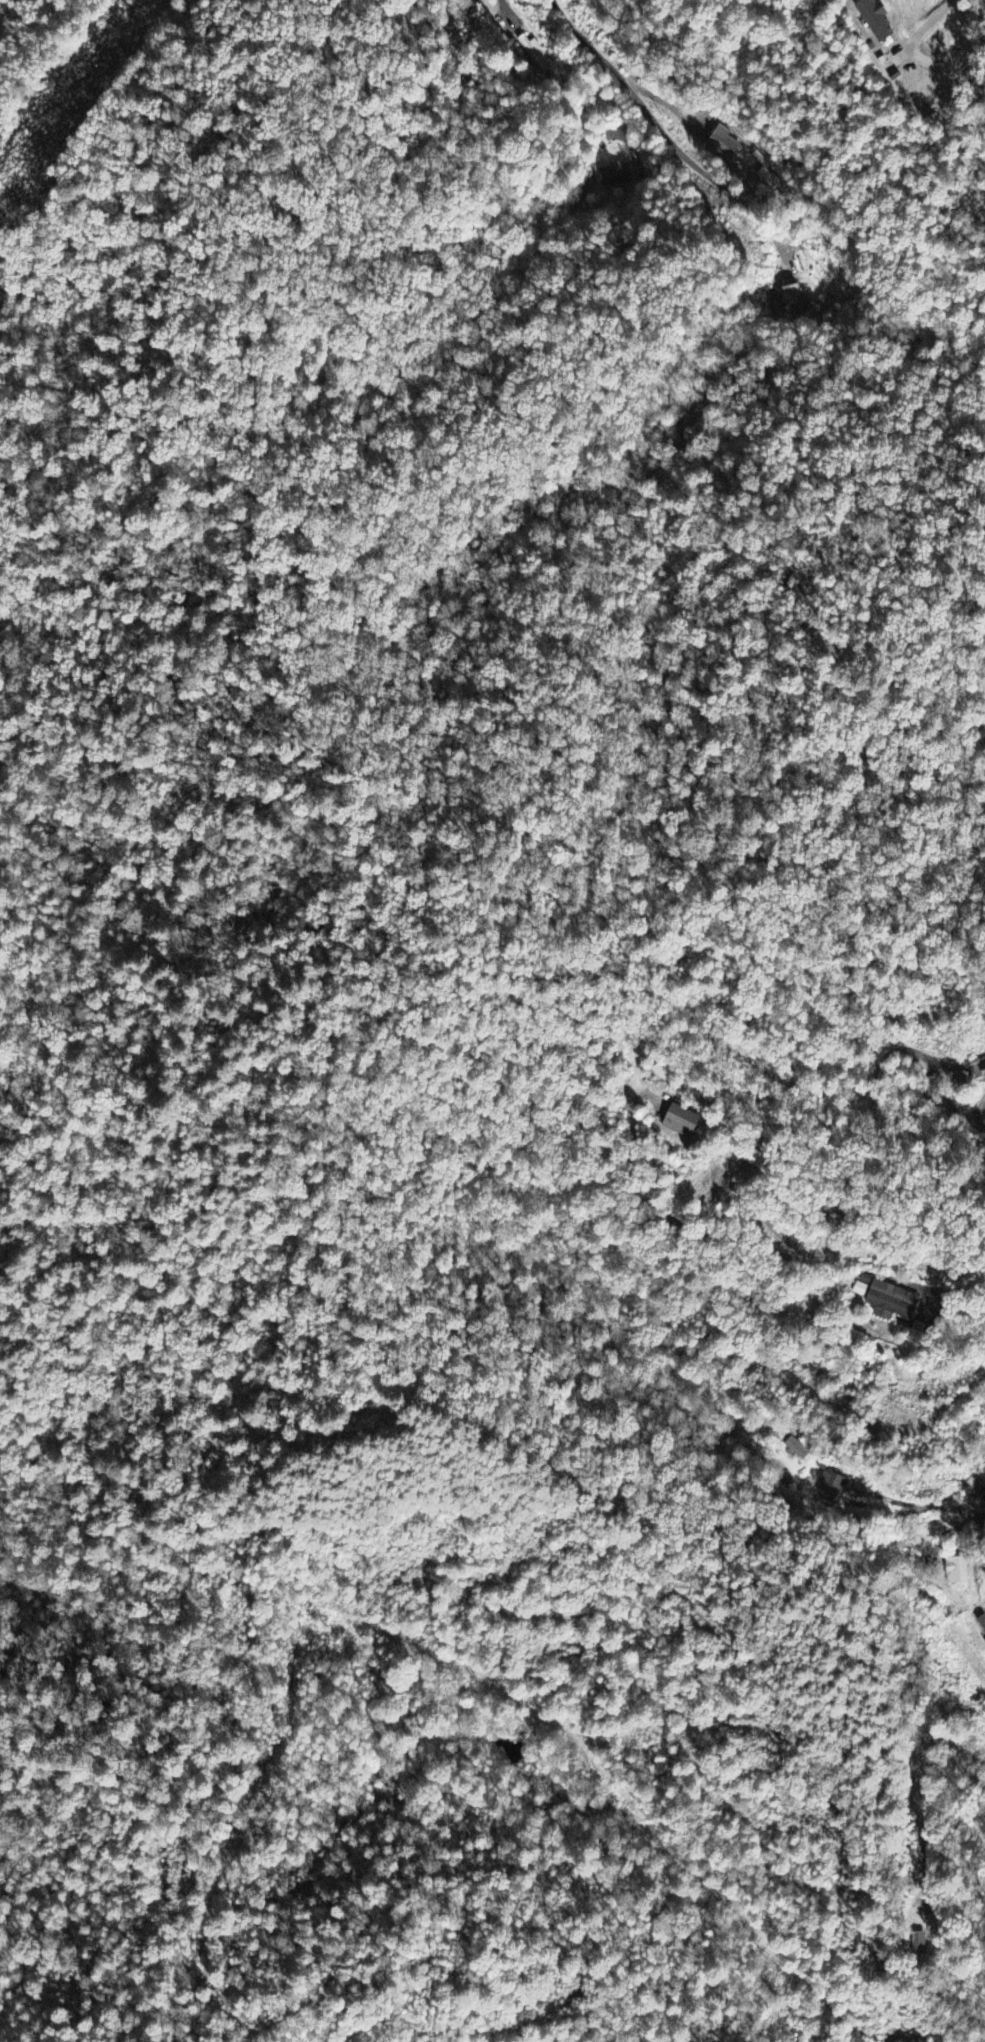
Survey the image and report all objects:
building: (878, 20)
building: (533, 53)
power tower: (76, 94)
road: (661, 132)
building: (724, 142)
building: (615, 175)
building: (792, 296)
building: (977, 1070)
road: (984, 1118)
building: (683, 1121)
road: (982, 1122)
road: (753, 1241)
building: (892, 1302)
building: (797, 1449)
building: (832, 1488)
building: (958, 1571)

